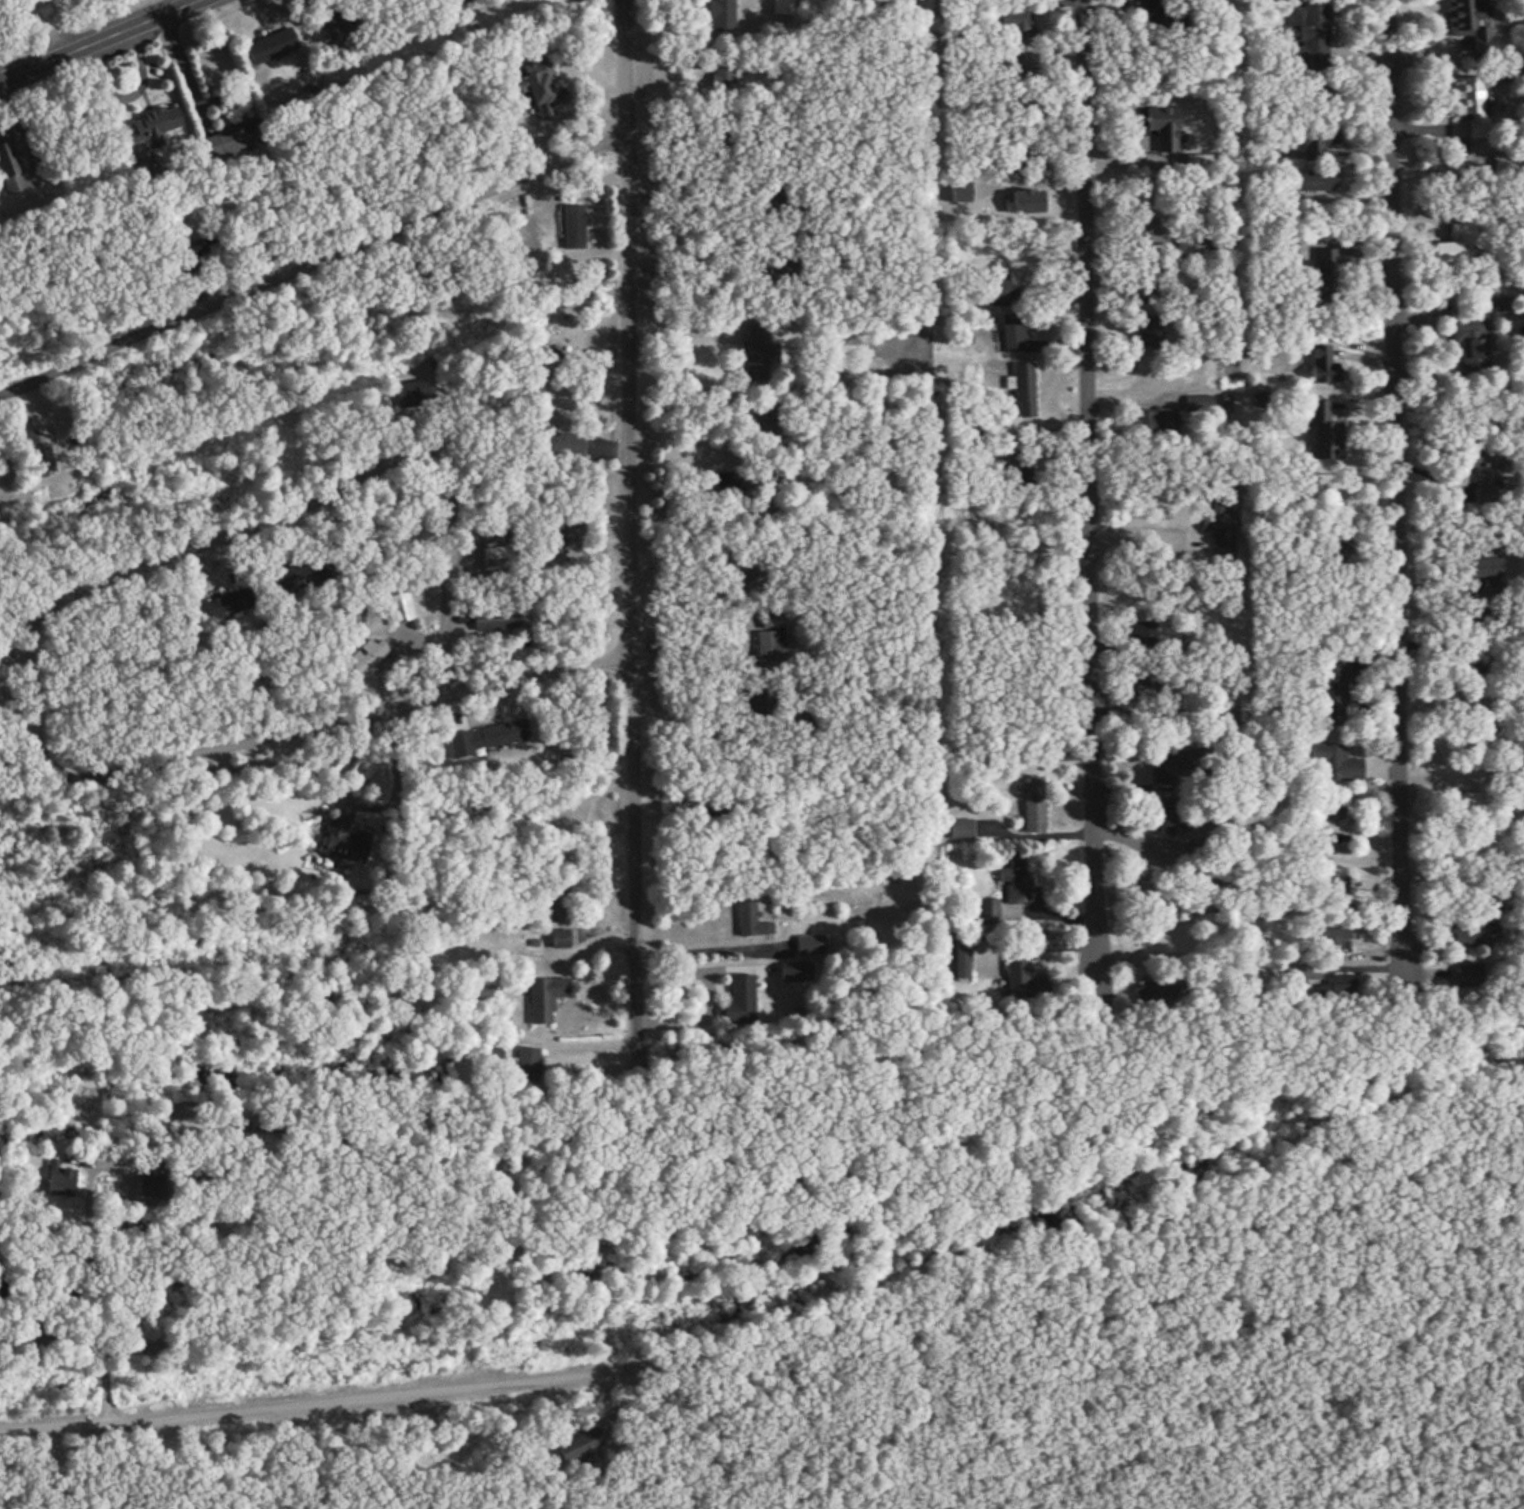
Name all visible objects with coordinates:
building: (463, 4)
building: (781, 7)
building: (721, 15)
building: (1471, 25)
building: (1020, 27)
building: (1310, 27)
road: (49, 31)
road: (99, 40)
building: (270, 47)
building: (544, 92)
building: (1470, 105)
building: (156, 126)
building: (1160, 132)
building: (232, 143)
building: (1309, 150)
building: (10, 171)
building: (1316, 181)
building: (574, 224)
building: (1145, 232)
building: (1455, 246)
road: (317, 259)
building: (1326, 276)
building: (784, 278)
building: (999, 295)
building: (1152, 332)
building: (1014, 335)
building: (1470, 345)
building: (756, 352)
building: (1323, 365)
building: (1023, 392)
building: (410, 395)
building: (1323, 434)
building: (43, 456)
building: (1485, 475)
road: (1394, 480)
road: (635, 482)
road: (1096, 485)
building: (557, 527)
building: (1223, 543)
building: (496, 559)
building: (1484, 570)
building: (746, 572)
building: (291, 579)
building: (229, 604)
building: (397, 609)
building: (500, 622)
building: (1141, 635)
building: (769, 637)
building: (373, 651)
road: (543, 672)
building: (1145, 683)
building: (1333, 695)
building: (757, 700)
road: (44, 732)
building: (488, 739)
building: (1337, 765)
building: (1165, 769)
building: (1034, 805)
building: (1330, 810)
building: (1175, 817)
building: (959, 830)
building: (344, 841)
building: (1338, 845)
building: (1335, 887)
building: (1006, 891)
building: (557, 900)
building: (1495, 901)
building: (749, 919)
building: (1470, 936)
building: (558, 938)
building: (1338, 939)
building: (808, 945)
building: (1017, 969)
building: (794, 975)
building: (544, 998)
building: (741, 999)
road: (777, 1336)
building: (579, 1446)

